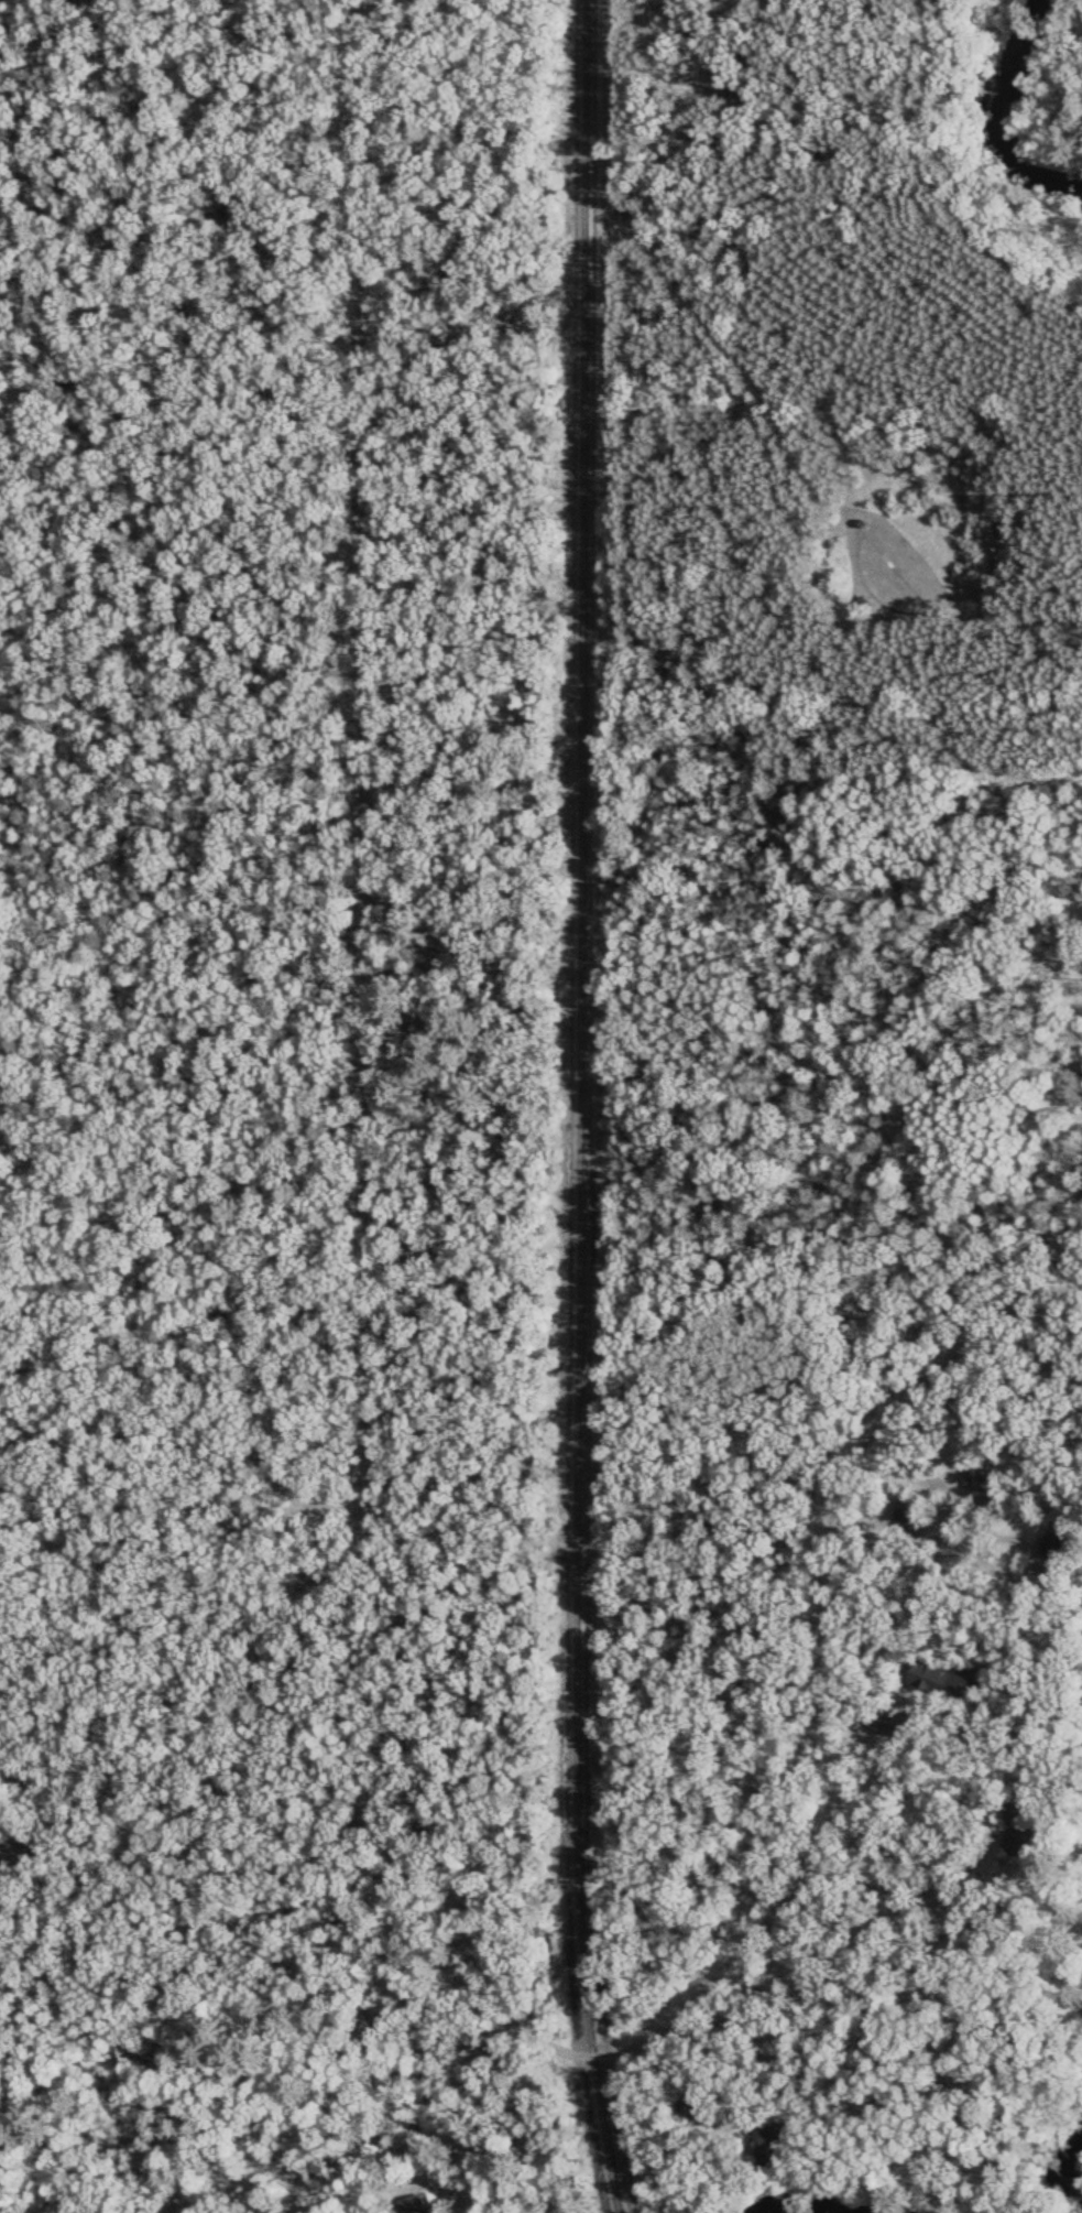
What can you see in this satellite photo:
river: (991, 123)
road: (380, 1076)
railway: (587, 1108)
road: (861, 1677)
river: (1063, 2176)
river: (773, 2212)

